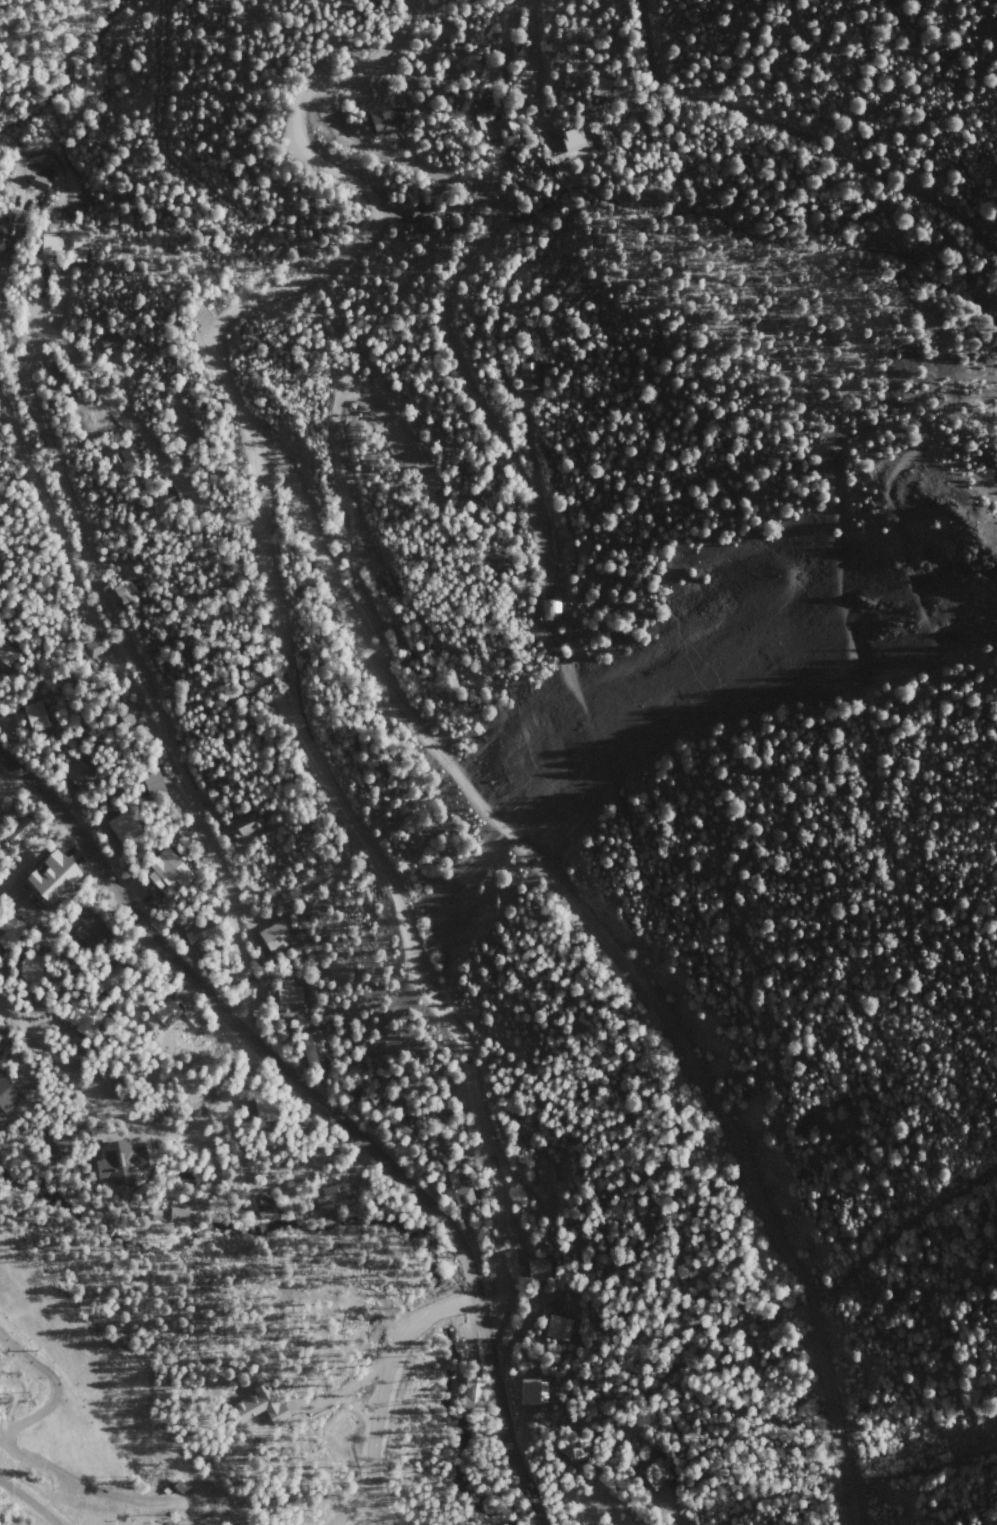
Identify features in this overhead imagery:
road: (505, 32)
road: (48, 35)
road: (391, 38)
road: (539, 75)
building: (603, 92)
building: (485, 125)
building: (384, 127)
building: (513, 132)
road: (800, 133)
building: (573, 144)
building: (40, 183)
building: (65, 248)
road: (353, 252)
road: (451, 296)
building: (110, 344)
building: (532, 377)
road: (146, 444)
road: (60, 456)
building: (131, 461)
road: (918, 474)
road: (45, 477)
road: (345, 480)
building: (163, 505)
building: (126, 592)
building: (385, 595)
building: (551, 612)
building: (97, 651)
building: (7, 654)
building: (257, 679)
building: (129, 716)
building: (37, 718)
road: (604, 759)
building: (79, 775)
building: (154, 786)
road: (191, 799)
building: (248, 825)
building: (125, 828)
building: (24, 835)
road: (34, 847)
building: (169, 872)
road: (892, 874)
road: (385, 876)
building: (52, 878)
building: (11, 929)
building: (89, 929)
building: (194, 934)
building: (203, 935)
building: (277, 939)
building: (136, 948)
road: (612, 950)
building: (33, 970)
building: (117, 982)
building: (292, 998)
building: (166, 1018)
building: (83, 1019)
building: (1, 1042)
building: (314, 1051)
building: (8, 1099)
building: (267, 1109)
road: (326, 1110)
road: (130, 1118)
building: (532, 1127)
building: (56, 1143)
building: (123, 1164)
building: (337, 1193)
building: (465, 1197)
building: (266, 1208)
building: (327, 1214)
building: (176, 1216)
building: (541, 1269)
building: (561, 1329)
aerialway pylon: (38, 1353)
road: (379, 1388)
building: (535, 1393)
building: (475, 1397)
building: (260, 1408)
ski resort: (86, 1416)
building: (587, 1447)
aerialway pylon: (152, 1460)
building: (660, 1482)
road: (32, 1495)
road: (594, 1496)
road: (362, 1505)

